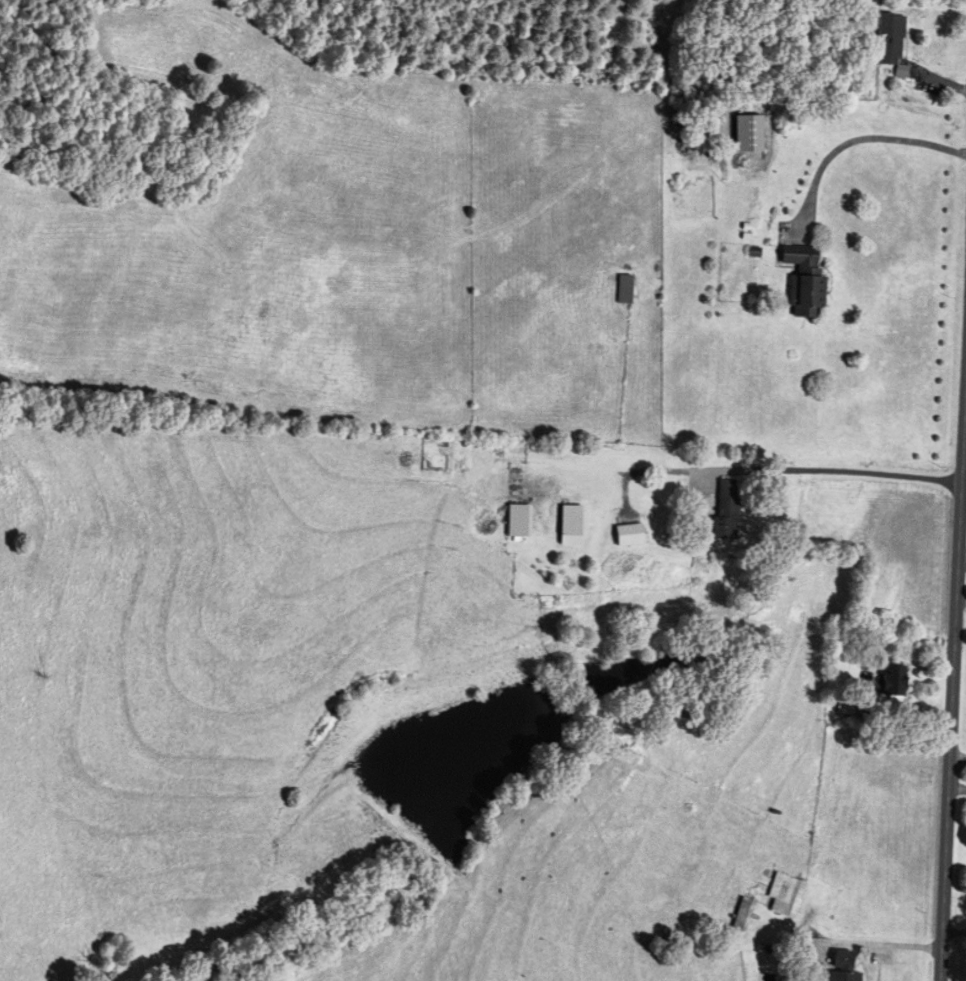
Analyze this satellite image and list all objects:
building: (891, 39)
road: (867, 138)
building: (702, 144)
building: (806, 280)
building: (626, 289)
road: (965, 460)
road: (794, 469)
building: (727, 511)
building: (573, 526)
building: (631, 536)
building: (891, 684)
road: (959, 708)
building: (786, 895)
building: (744, 914)
road: (891, 947)
building: (844, 966)

